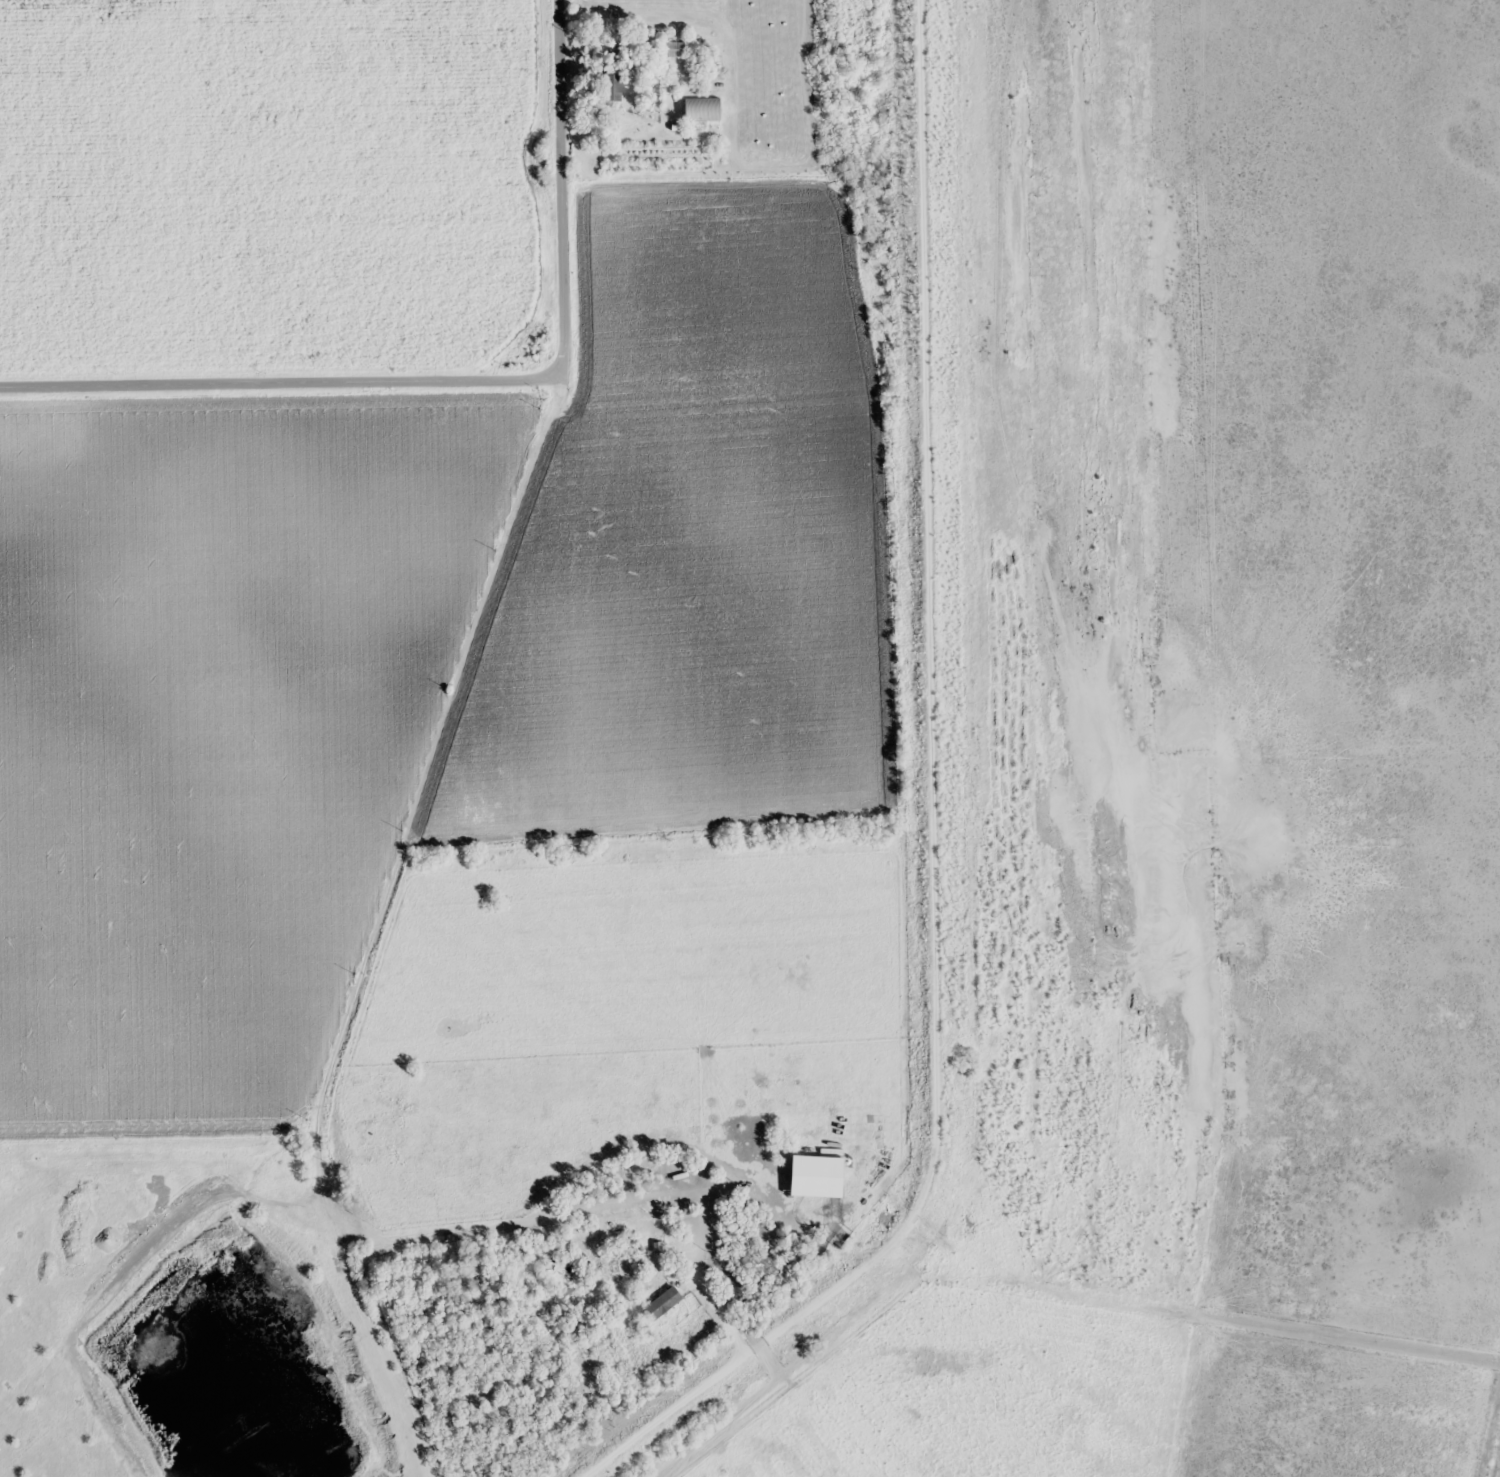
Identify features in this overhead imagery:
building: (672, 48)
building: (613, 88)
building: (703, 109)
road: (558, 189)
road: (280, 382)
road: (905, 810)
road: (382, 926)
building: (839, 1230)
building: (662, 1303)

